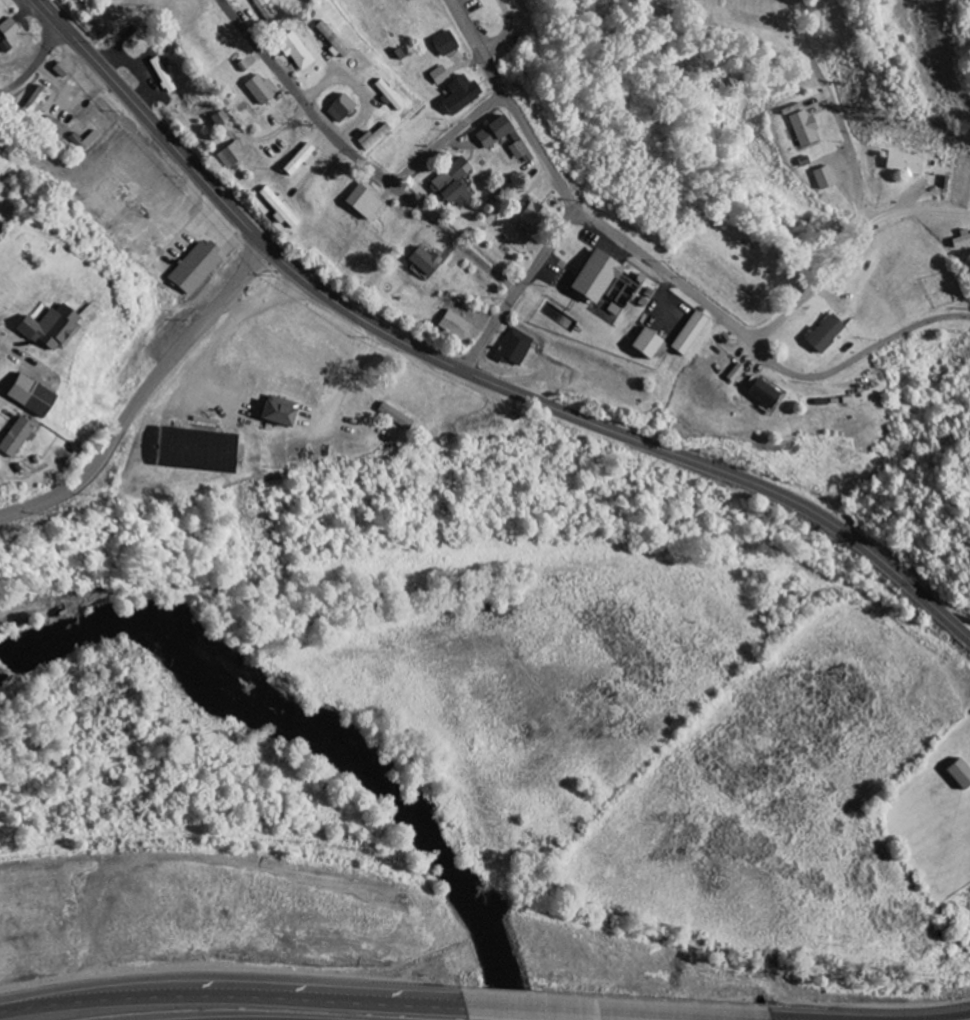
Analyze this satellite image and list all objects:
building: (263, 12)
building: (6, 29)
building: (330, 40)
building: (442, 43)
building: (292, 51)
road: (36, 63)
building: (163, 74)
building: (437, 76)
building: (257, 89)
building: (386, 95)
building: (457, 95)
building: (33, 102)
building: (337, 108)
building: (217, 119)
building: (799, 127)
building: (50, 128)
building: (490, 132)
building: (371, 137)
building: (87, 139)
road: (448, 139)
building: (519, 152)
building: (229, 154)
road: (355, 158)
building: (295, 159)
building: (901, 163)
building: (819, 177)
building: (450, 183)
building: (360, 201)
building: (275, 209)
building: (526, 217)
building: (960, 240)
building: (421, 261)
road: (667, 273)
building: (601, 281)
road: (520, 288)
road: (815, 290)
building: (450, 325)
building: (37, 326)
building: (686, 333)
building: (821, 334)
building: (642, 344)
building: (512, 347)
road: (468, 373)
building: (758, 393)
building: (20, 394)
road: (146, 400)
building: (274, 413)
building: (392, 416)
building: (8, 431)
building: (192, 450)
river: (328, 732)
building: (958, 773)
road: (230, 990)
road: (617, 1010)
road: (948, 1017)
road: (797, 1019)

